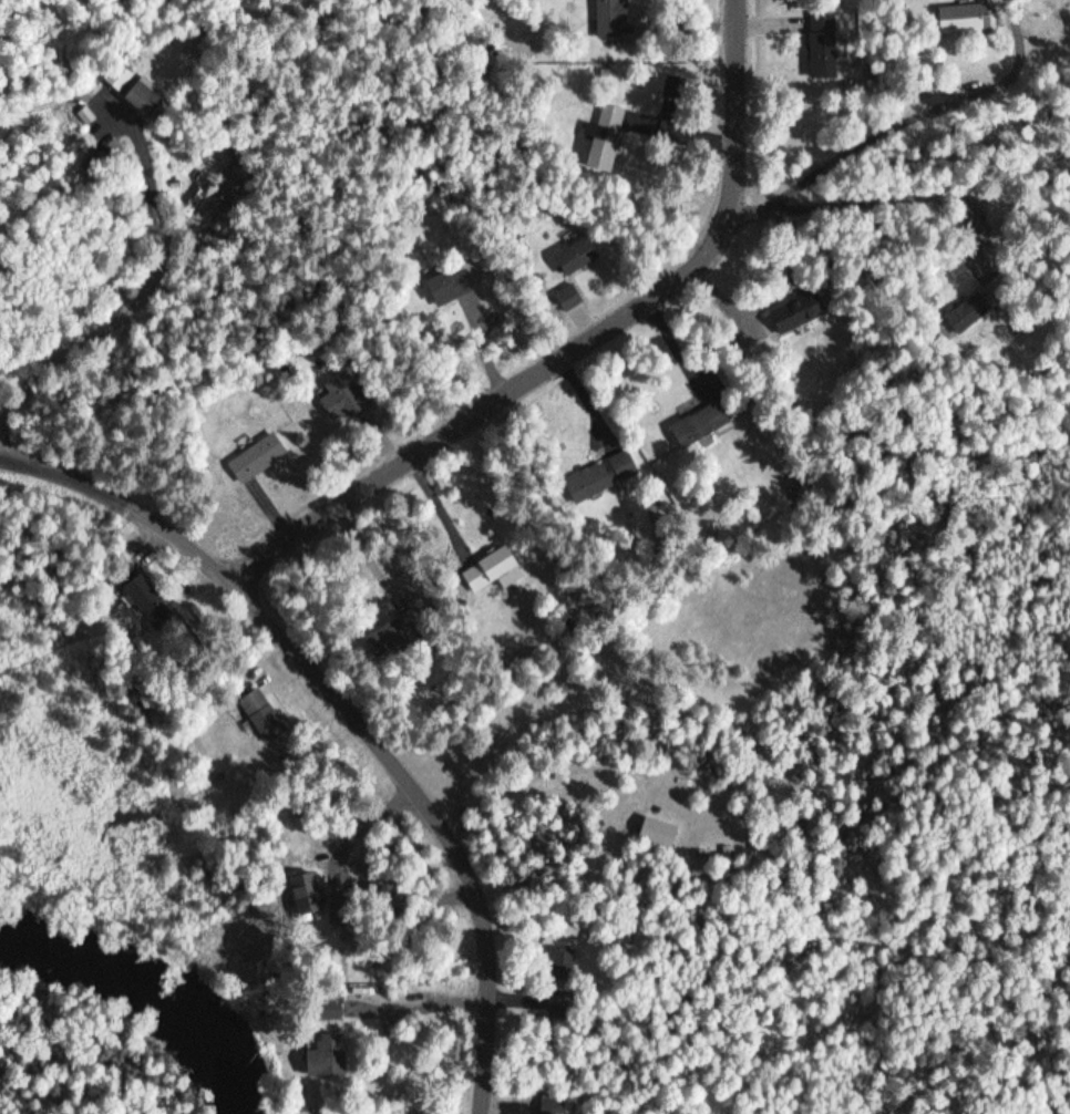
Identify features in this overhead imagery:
building: (615, 18)
building: (964, 18)
road: (868, 41)
building: (827, 43)
road: (854, 89)
building: (152, 95)
building: (608, 127)
building: (222, 155)
building: (105, 159)
building: (234, 184)
building: (582, 254)
building: (954, 270)
building: (452, 283)
building: (805, 308)
road: (585, 349)
building: (346, 396)
building: (703, 424)
road: (272, 453)
building: (260, 456)
building: (608, 473)
building: (505, 560)
building: (157, 600)
road: (348, 713)
building: (266, 714)
building: (625, 828)
building: (660, 832)
building: (309, 889)
road: (822, 946)
river: (146, 1000)
building: (330, 1054)
building: (553, 1105)

